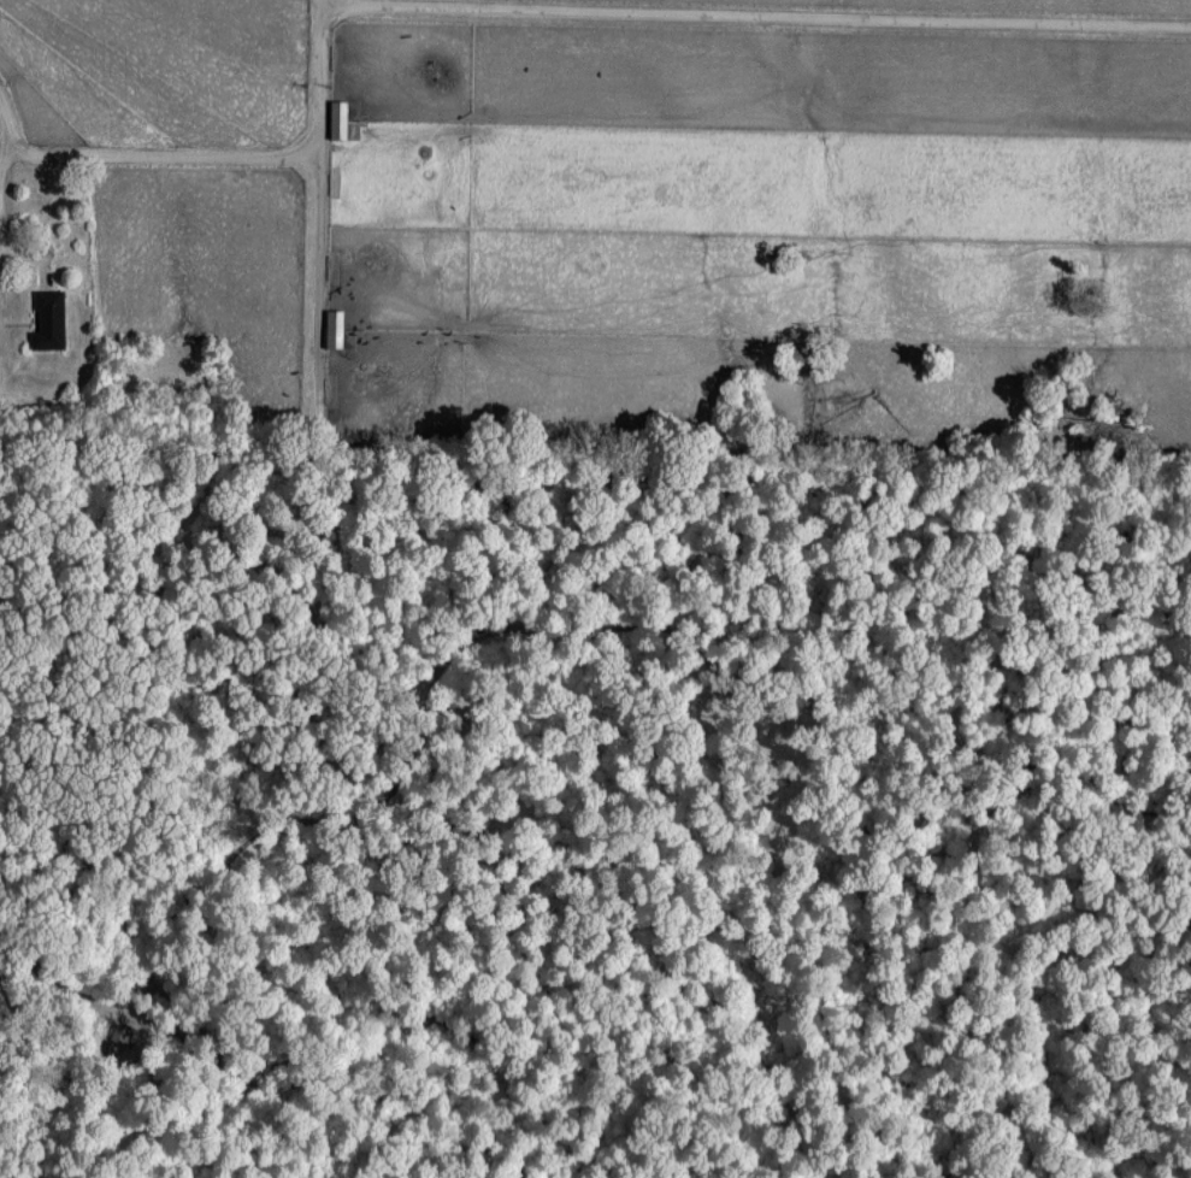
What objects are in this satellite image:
building: (337, 118)
building: (48, 319)
building: (334, 328)

